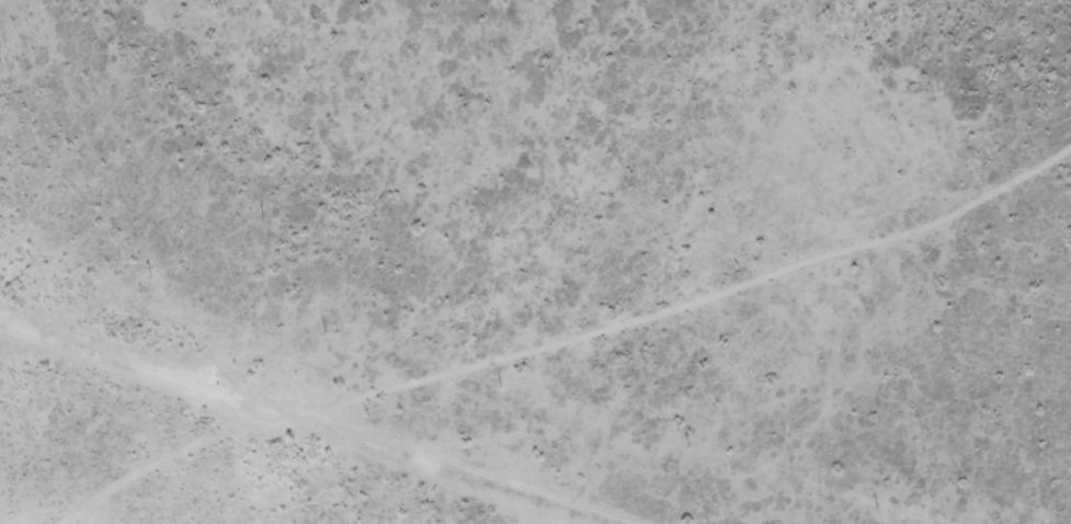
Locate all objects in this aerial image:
road: (590, 354)

